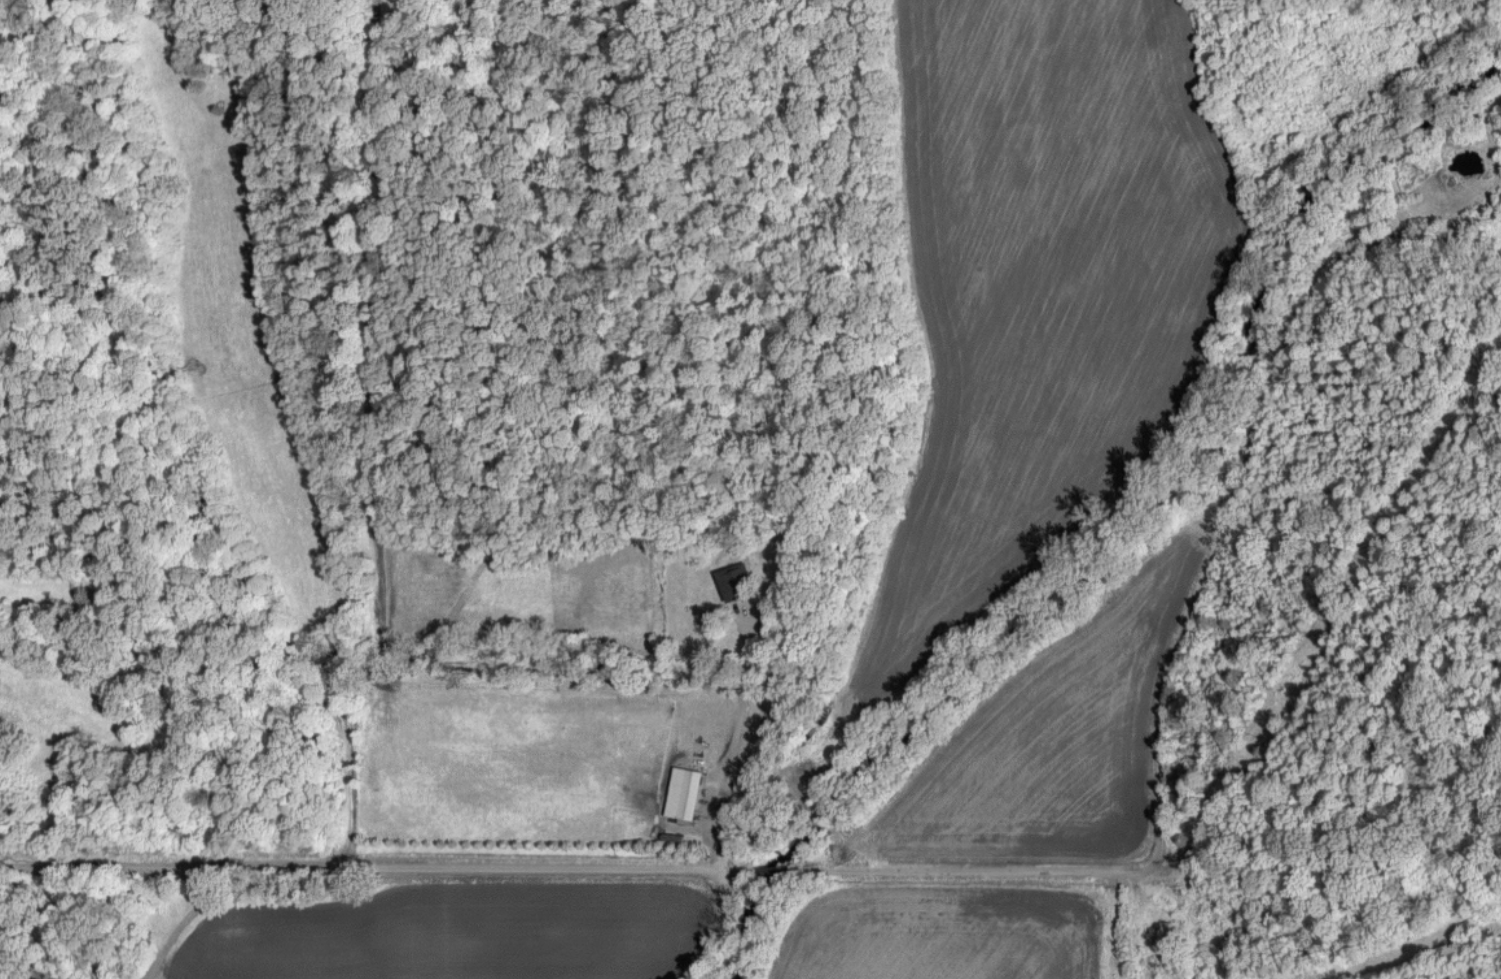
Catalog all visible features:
building: (735, 580)
road: (714, 743)
building: (686, 794)
road: (751, 867)
road: (720, 926)

